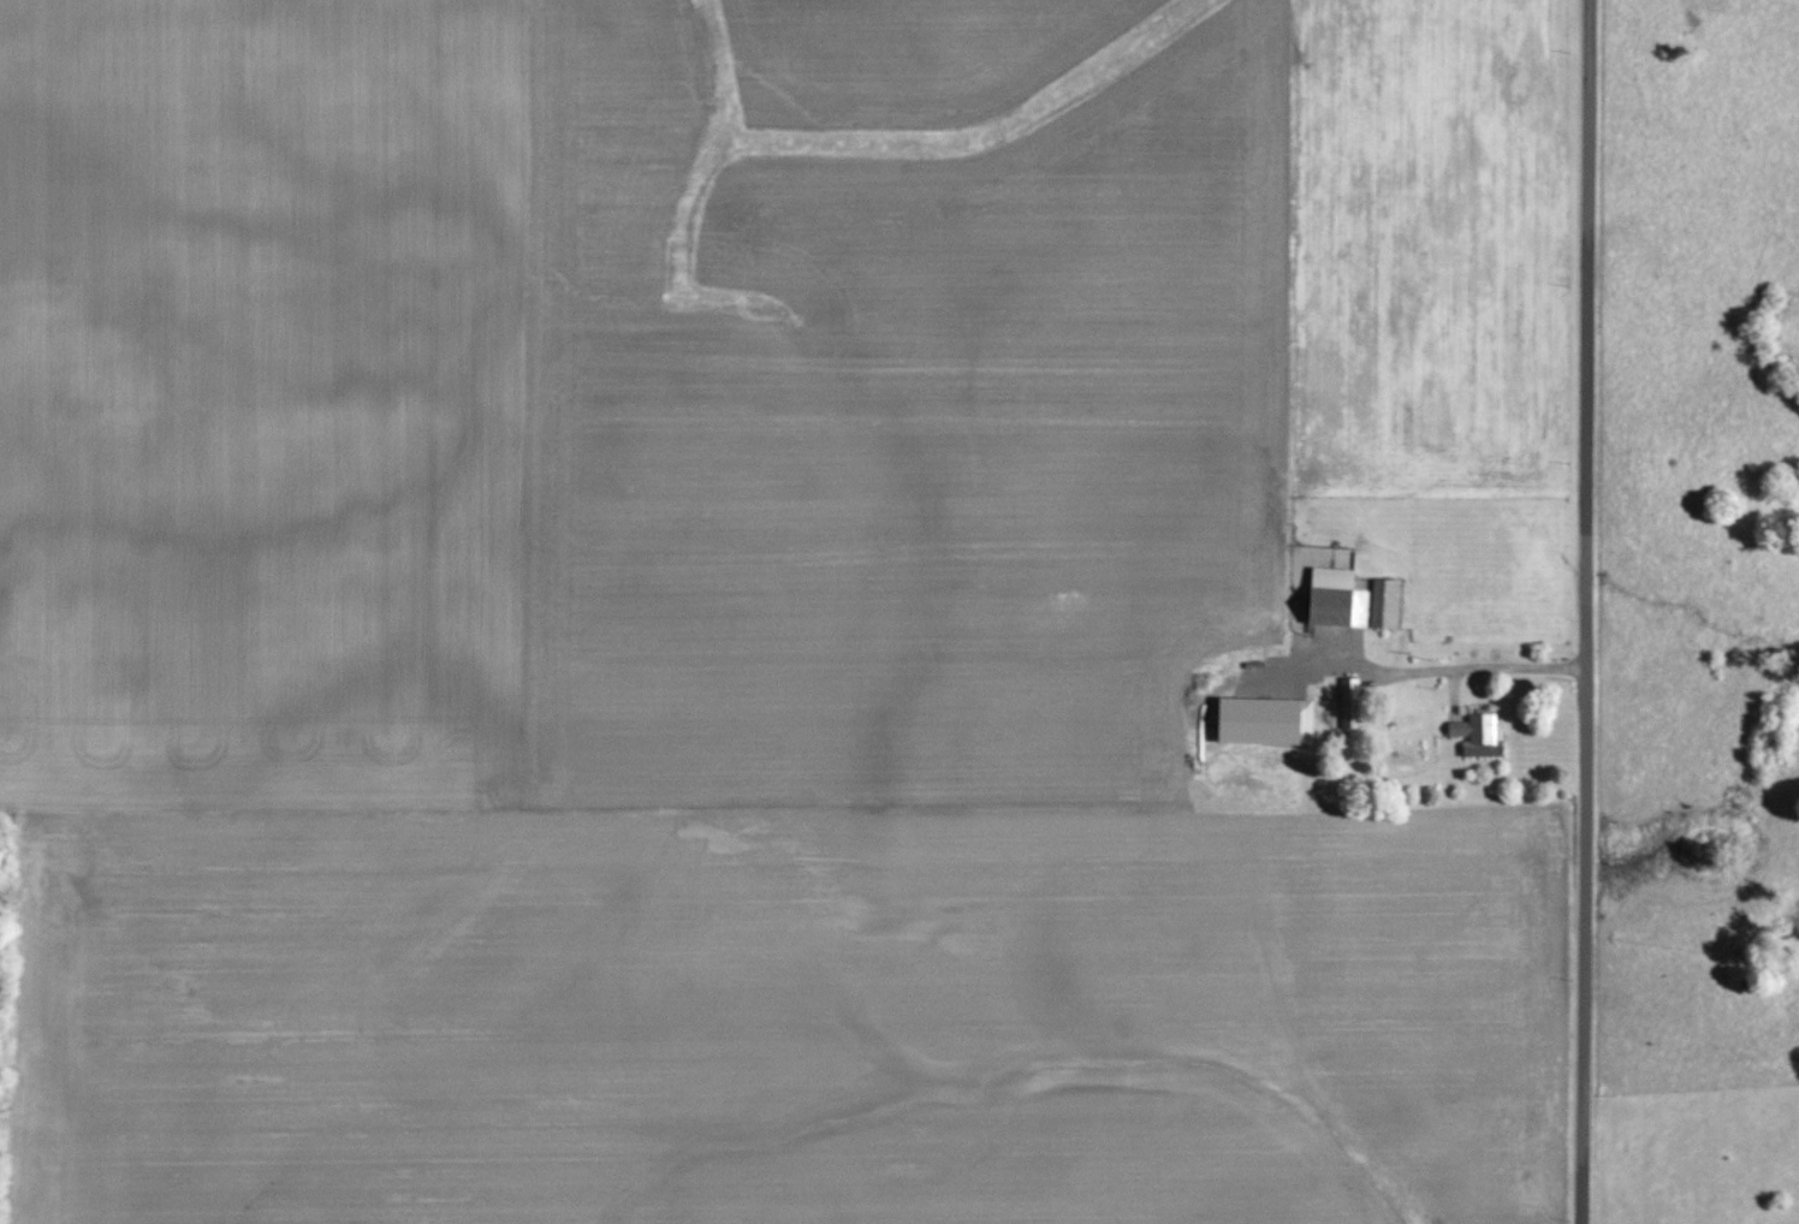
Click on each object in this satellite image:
building: (1340, 596)
building: (1388, 602)
road: (1584, 612)
building: (1352, 702)
building: (1482, 735)

